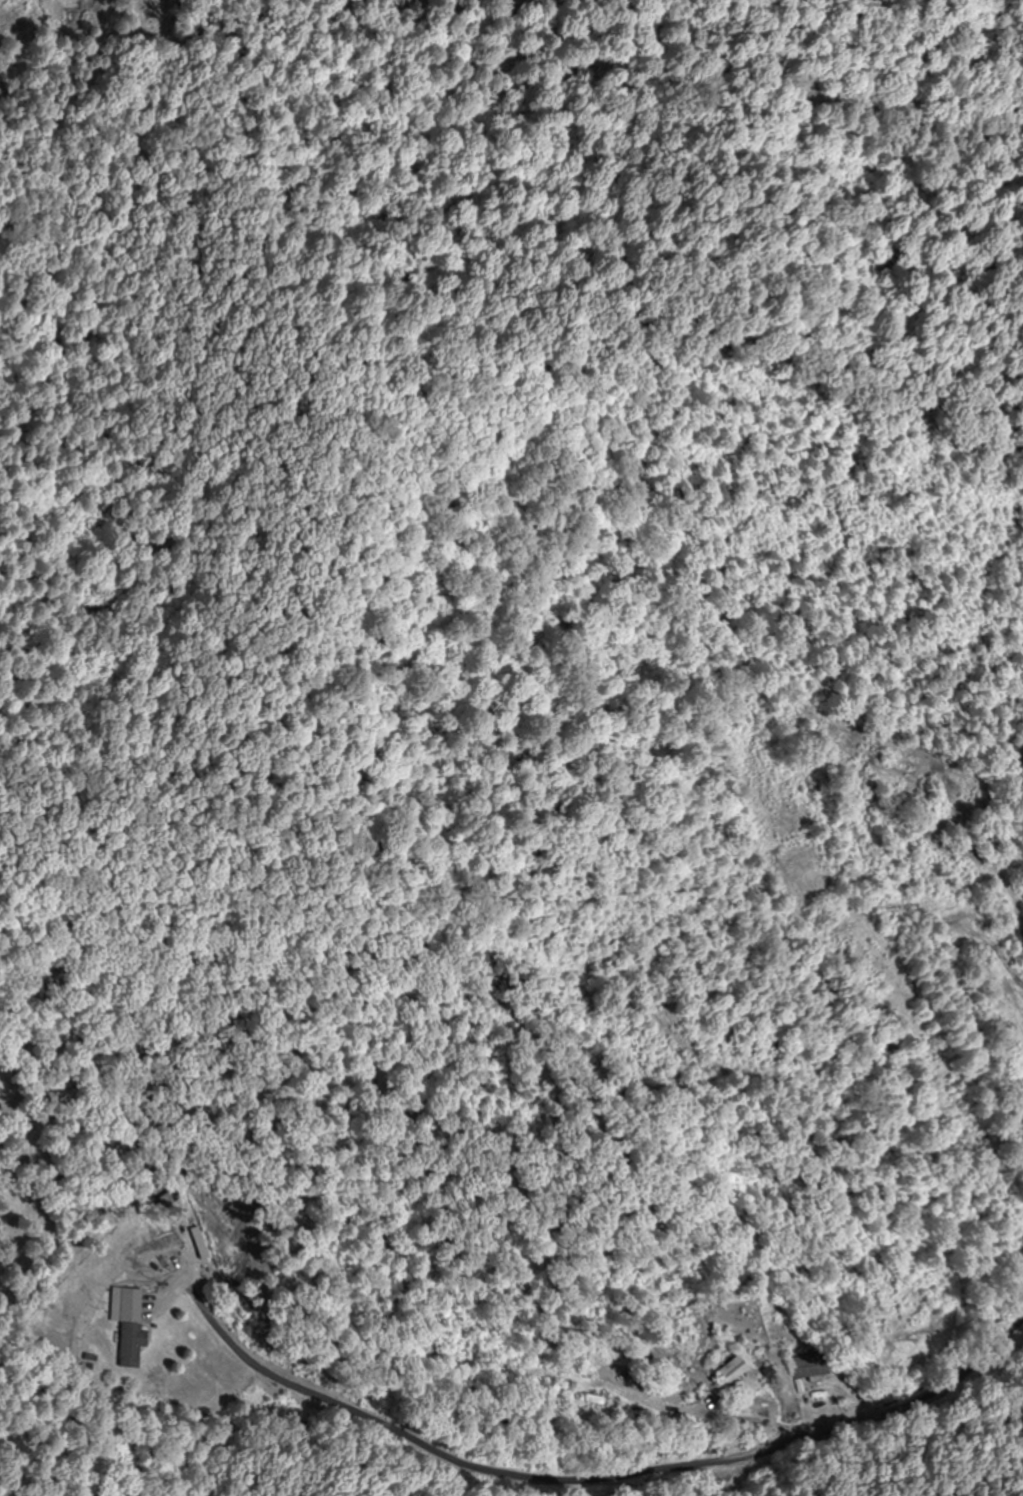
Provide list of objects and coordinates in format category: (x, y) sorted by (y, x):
building: (133, 1328)
building: (806, 1369)
building: (726, 1372)
road: (921, 1397)
building: (588, 1400)
road: (919, 1445)

